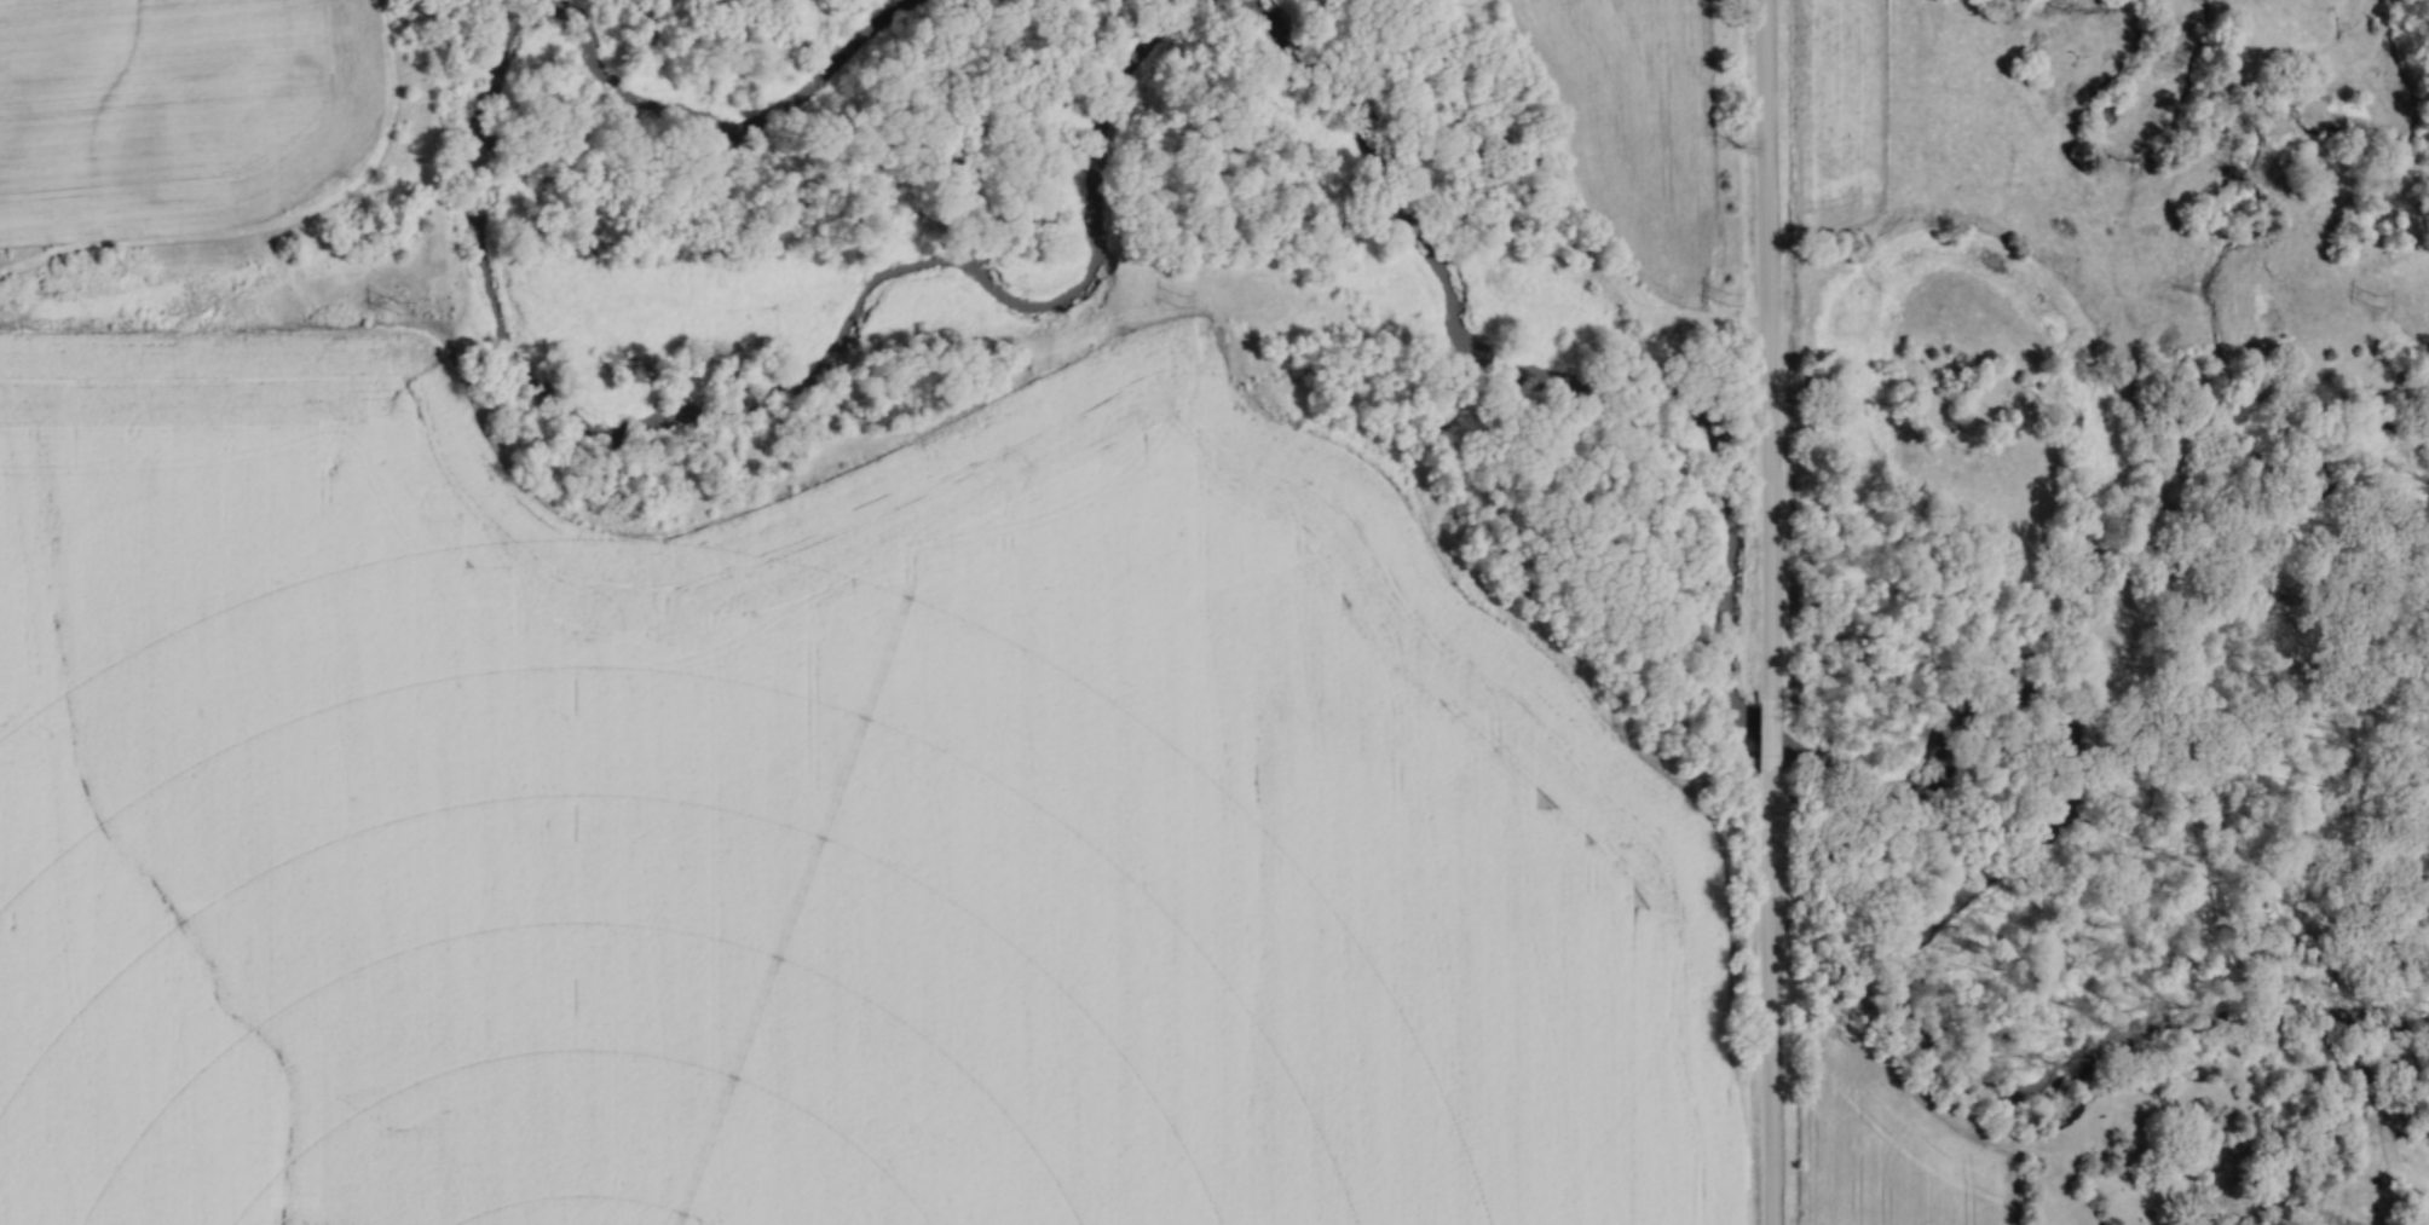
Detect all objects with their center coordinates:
power tower: (1727, 300)
power tower: (1179, 302)
power tower: (2373, 302)
power tower: (399, 308)
road: (1769, 348)
road: (1771, 744)
road: (1771, 1006)

